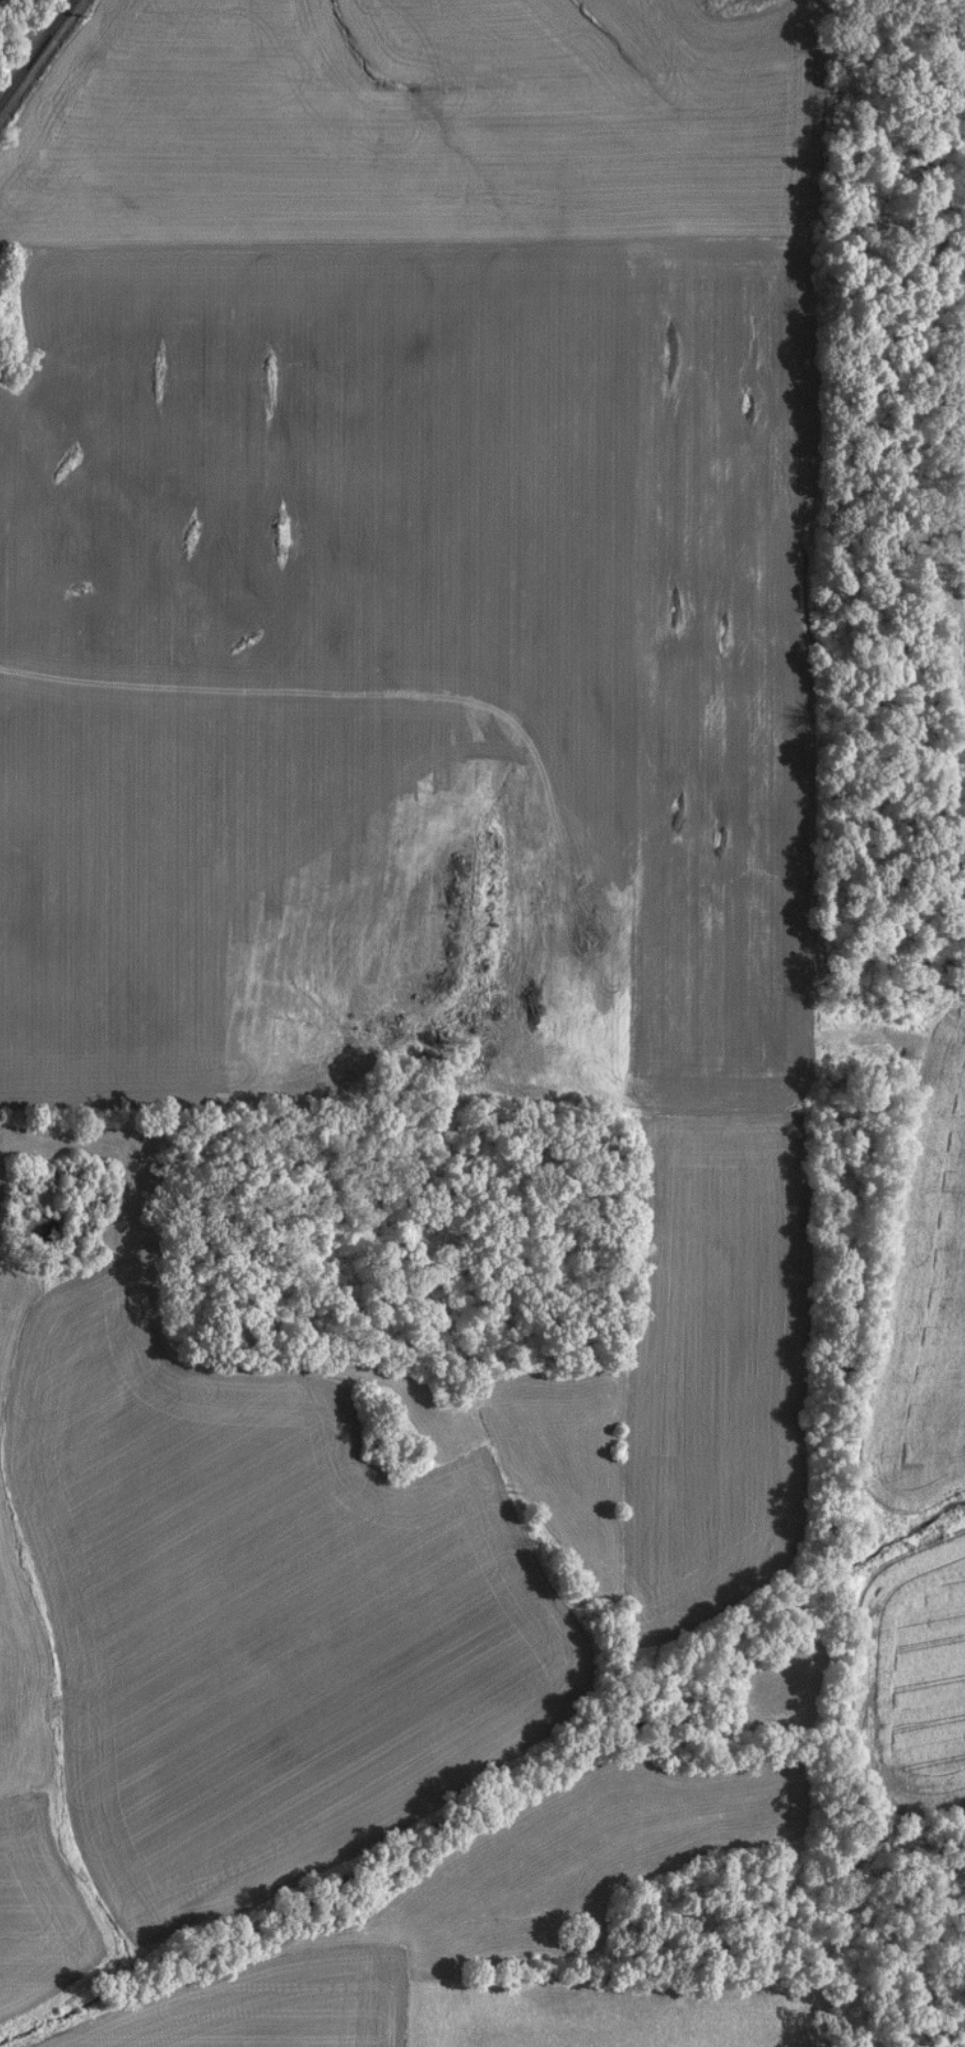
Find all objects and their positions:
railway: (36, 49)

